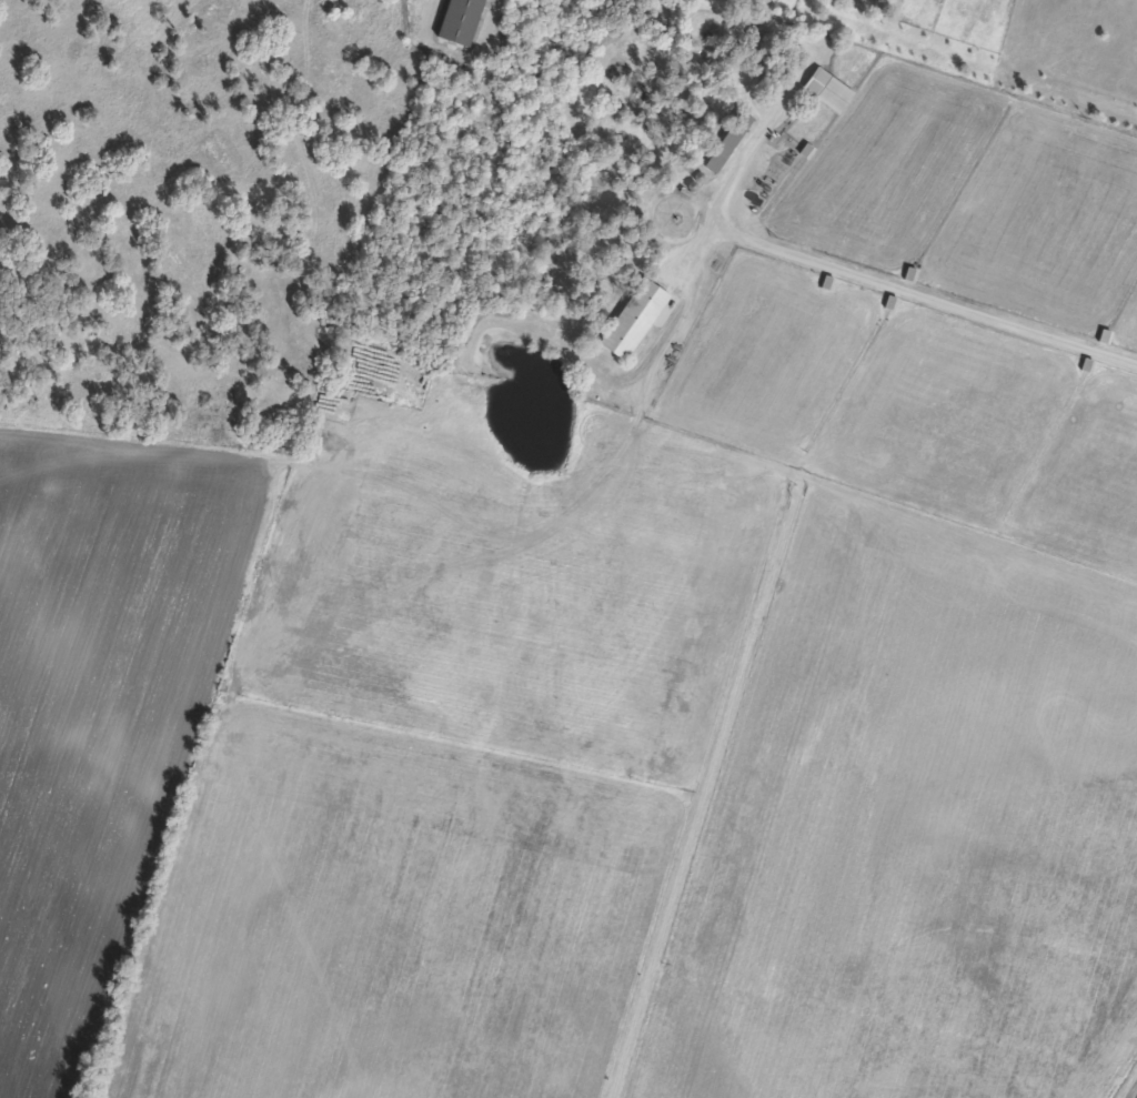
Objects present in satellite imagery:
building: (460, 21)
building: (828, 90)
building: (728, 142)
road: (923, 299)
building: (635, 320)

